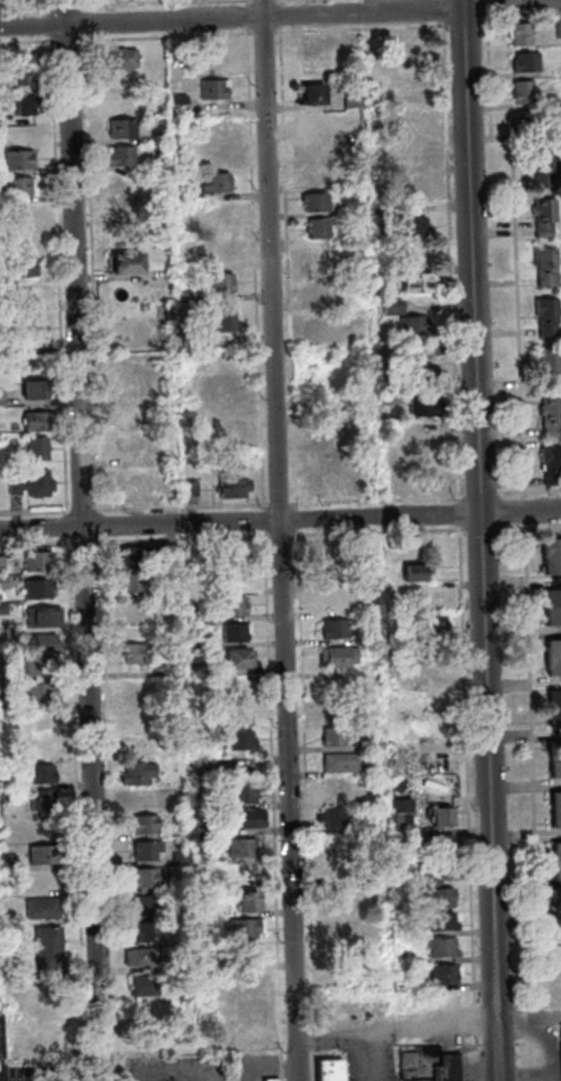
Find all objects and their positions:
road: (473, 0)
road: (145, 2)
road: (277, 2)
road: (244, 3)
road: (68, 4)
road: (82, 4)
road: (28, 6)
road: (48, 6)
road: (484, 6)
road: (439, 10)
road: (519, 13)
road: (277, 14)
road: (244, 16)
road: (231, 17)
road: (462, 21)
road: (82, 22)
road: (48, 23)
road: (358, 29)
building: (557, 29)
road: (261, 32)
building: (518, 34)
road: (165, 35)
road: (67, 40)
road: (27, 41)
building: (313, 43)
building: (408, 52)
building: (120, 59)
building: (523, 62)
building: (22, 68)
building: (371, 77)
building: (211, 90)
building: (405, 91)
building: (520, 91)
building: (312, 95)
building: (348, 100)
building: (120, 102)
building: (176, 103)
building: (18, 104)
building: (409, 118)
building: (318, 120)
building: (521, 123)
building: (120, 129)
building: (27, 131)
building: (411, 144)
building: (316, 146)
building: (216, 154)
building: (118, 155)
building: (16, 159)
building: (539, 166)
building: (385, 171)
building: (316, 173)
building: (124, 181)
building: (214, 183)
building: (409, 185)
building: (14, 187)
building: (180, 193)
building: (312, 203)
building: (351, 208)
building: (17, 213)
building: (222, 213)
building: (541, 216)
building: (409, 225)
building: (317, 230)
building: (27, 238)
road: (512, 252)
building: (354, 253)
road: (448, 261)
building: (317, 263)
building: (124, 264)
building: (20, 266)
road: (253, 266)
road: (286, 266)
building: (543, 267)
road: (90, 273)
road: (57, 275)
building: (220, 284)
building: (417, 284)
building: (25, 293)
building: (322, 293)
building: (183, 297)
building: (389, 305)
building: (543, 316)
building: (223, 320)
building: (411, 326)
building: (31, 327)
building: (319, 327)
building: (358, 337)
building: (7, 346)
building: (418, 353)
building: (33, 359)
building: (545, 366)
building: (421, 376)
building: (32, 389)
building: (382, 398)
building: (327, 404)
building: (420, 407)
building: (547, 416)
building: (35, 420)
building: (327, 431)
building: (229, 436)
building: (129, 440)
building: (34, 448)
building: (166, 457)
building: (548, 465)
building: (29, 485)
building: (135, 485)
building: (333, 485)
building: (187, 488)
building: (229, 488)
road: (527, 491)
road: (478, 494)
road: (374, 498)
road: (276, 502)
road: (178, 506)
road: (81, 509)
road: (34, 510)
road: (521, 511)
road: (456, 513)
road: (261, 519)
road: (294, 519)
road: (279, 520)
road: (98, 523)
road: (64, 524)
road: (478, 529)
road: (527, 529)
road: (375, 531)
road: (279, 534)
road: (181, 538)
road: (82, 540)
road: (278, 540)
road: (479, 540)
road: (82, 541)
road: (34, 542)
building: (327, 549)
building: (549, 549)
building: (188, 552)
building: (227, 552)
building: (170, 553)
building: (139, 555)
building: (34, 561)
building: (0, 564)
building: (4, 564)
building: (550, 567)
building: (410, 573)
building: (1, 582)
building: (133, 582)
building: (38, 588)
building: (551, 600)
building: (338, 601)
building: (235, 604)
building: (2, 608)
building: (193, 615)
building: (551, 616)
building: (38, 618)
building: (428, 626)
building: (331, 629)
building: (236, 631)
building: (195, 642)
building: (40, 643)
building: (552, 650)
building: (136, 652)
building: (239, 656)
building: (334, 657)
building: (37, 665)
building: (170, 667)
building: (552, 667)
building: (367, 676)
building: (37, 692)
building: (339, 697)
building: (552, 701)
building: (3, 702)
building: (239, 711)
building: (552, 718)
building: (45, 724)
building: (330, 736)
building: (373, 743)
building: (238, 744)
building: (553, 752)
building: (337, 762)
building: (437, 763)
building: (202, 764)
building: (554, 769)
building: (137, 772)
building: (37, 773)
building: (333, 788)
building: (243, 793)
building: (143, 795)
road: (271, 796)
building: (39, 799)
building: (554, 802)
road: (465, 803)
road: (305, 804)
road: (530, 804)
road: (108, 807)
road: (73, 808)
building: (249, 817)
building: (329, 818)
building: (439, 818)
building: (554, 818)
building: (397, 820)
building: (144, 823)
building: (204, 827)
building: (335, 843)
building: (435, 845)
building: (242, 847)
building: (146, 848)
building: (555, 853)
building: (41, 855)
building: (204, 858)
building: (178, 859)
building: (6, 863)
building: (555, 870)
building: (335, 871)
building: (247, 874)
building: (144, 877)
building: (42, 879)
building: (433, 887)
building: (375, 895)
building: (555, 899)
building: (247, 901)
building: (146, 904)
building: (178, 908)
building: (39, 909)
building: (438, 922)
building: (247, 927)
building: (180, 928)
building: (149, 930)
building: (439, 947)
building: (45, 950)
building: (247, 952)
building: (559, 955)
building: (142, 956)
building: (400, 958)
building: (446, 975)
building: (248, 982)
building: (143, 986)
building: (560, 990)
building: (55, 1014)
road: (544, 1017)
road: (415, 1023)
road: (513, 1023)
road: (553, 1033)
building: (3, 1037)
building: (249, 1037)
building: (412, 1059)
parking lot: (207, 1068)
building: (452, 1068)
building: (334, 1069)
road: (282, 1070)
road: (216, 1071)
parking lot: (42, 1073)
road: (205, 1077)
road: (529, 1077)
building: (273, 1079)
road: (283, 1079)
road: (60, 1080)

